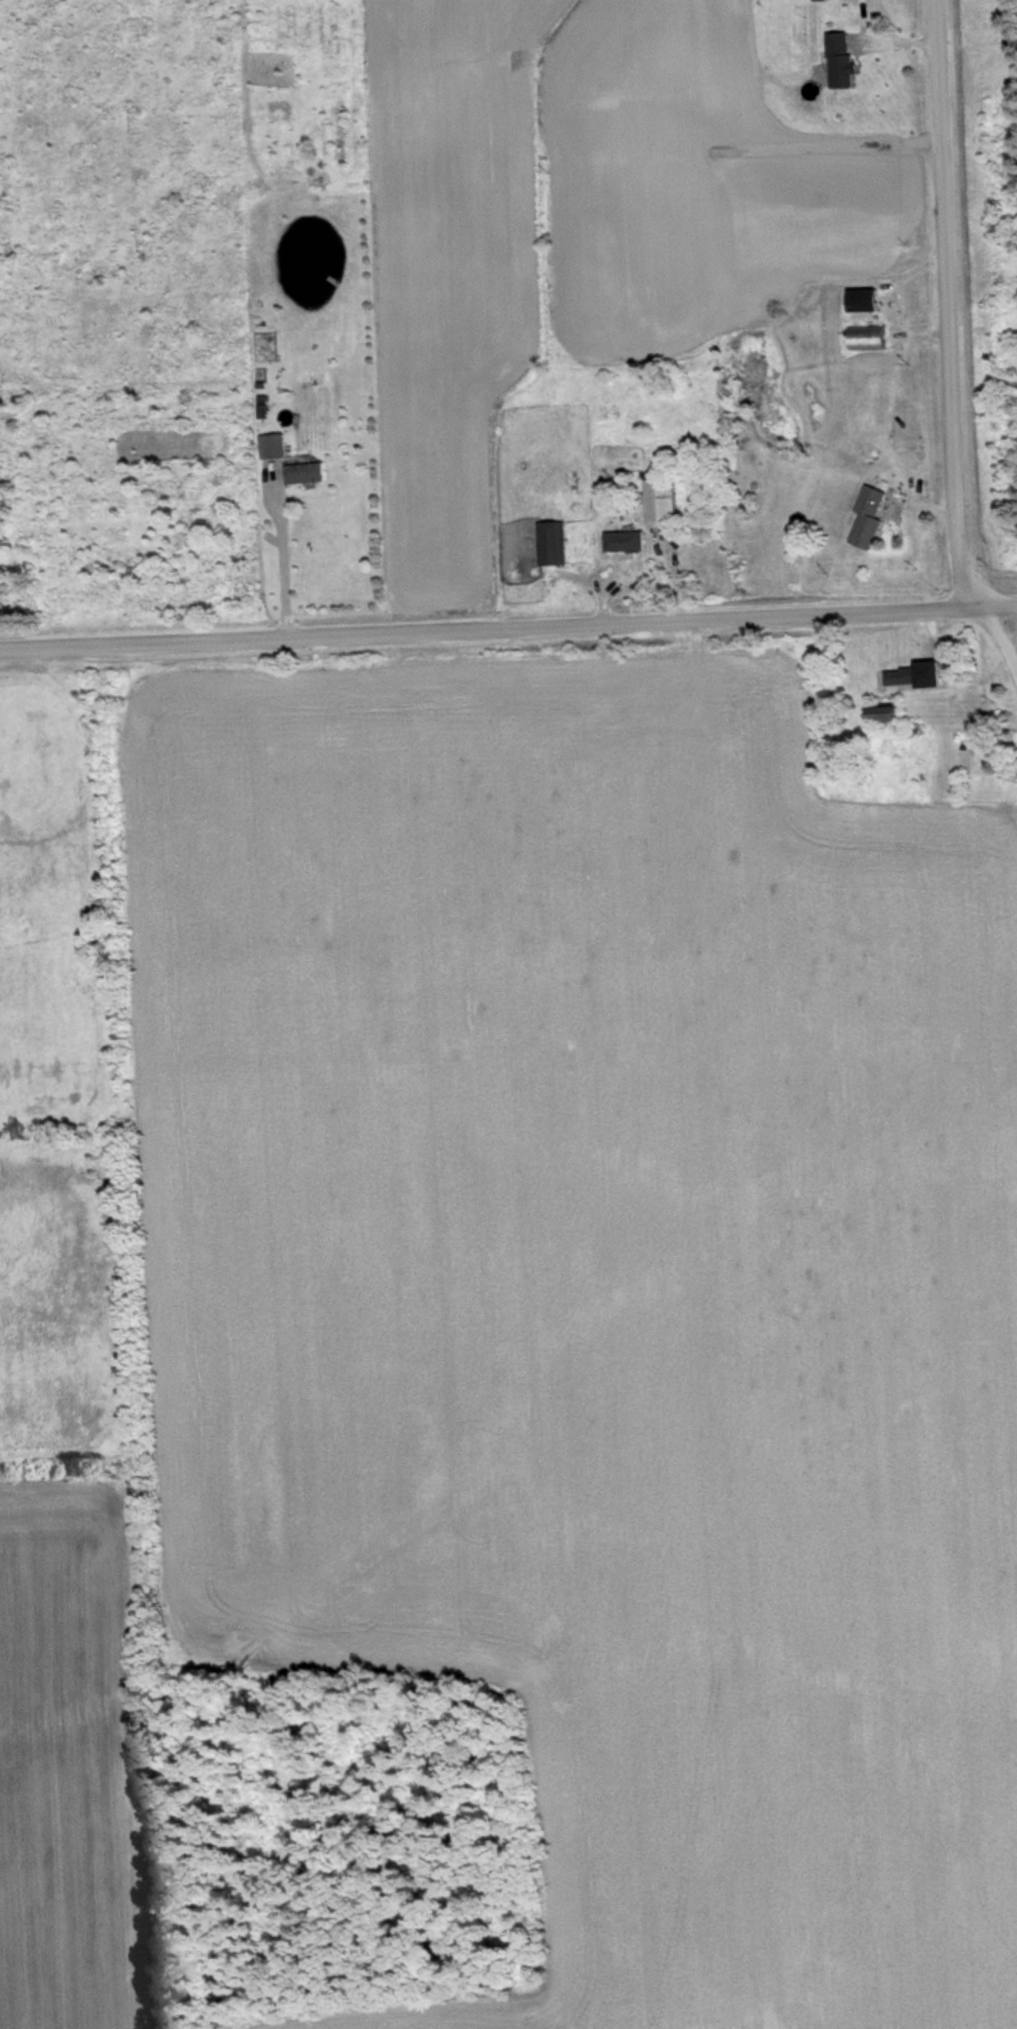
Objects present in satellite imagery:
building: (846, 60)
building: (868, 299)
building: (874, 336)
road: (946, 343)
building: (280, 444)
building: (310, 472)
building: (669, 498)
building: (874, 515)
building: (630, 540)
building: (558, 542)
road: (508, 625)
road: (1015, 665)
building: (918, 675)
building: (895, 713)

